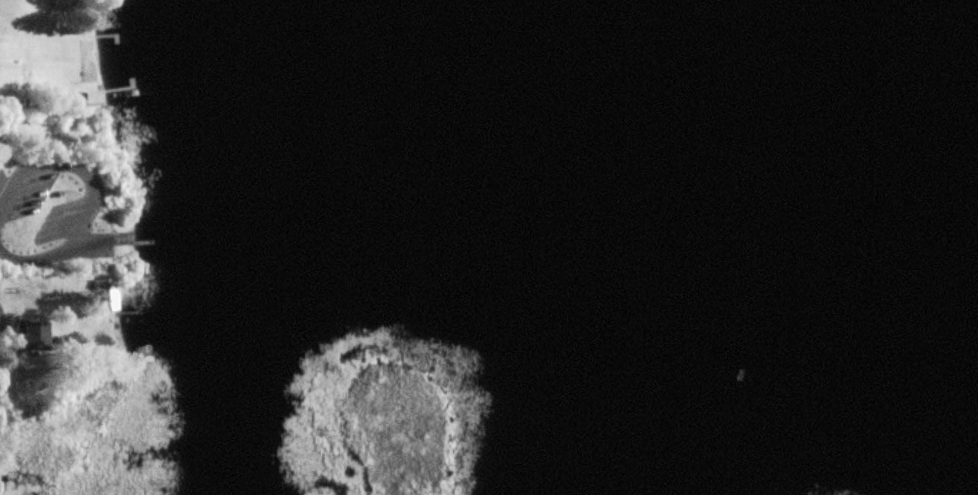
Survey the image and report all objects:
building: (89, 14)
road: (91, 192)
building: (104, 296)
building: (26, 337)

